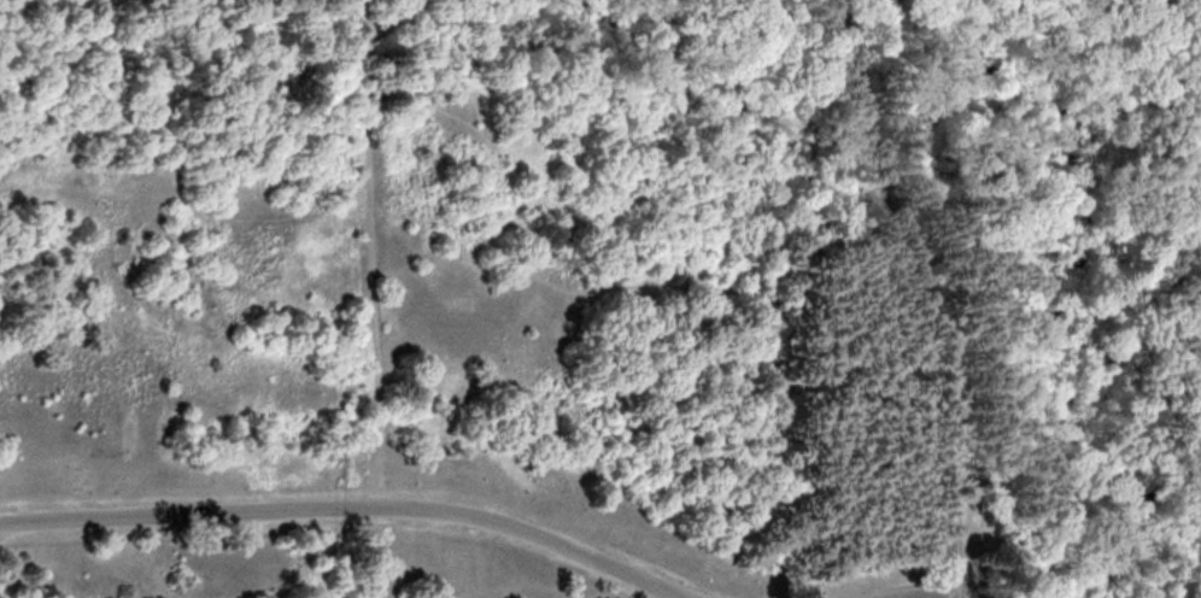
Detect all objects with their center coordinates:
road: (771, 17)
road: (529, 276)
road: (909, 295)
park: (600, 299)
road: (370, 334)
road: (480, 487)
road: (194, 506)
road: (539, 535)
road: (382, 550)
road: (932, 592)

